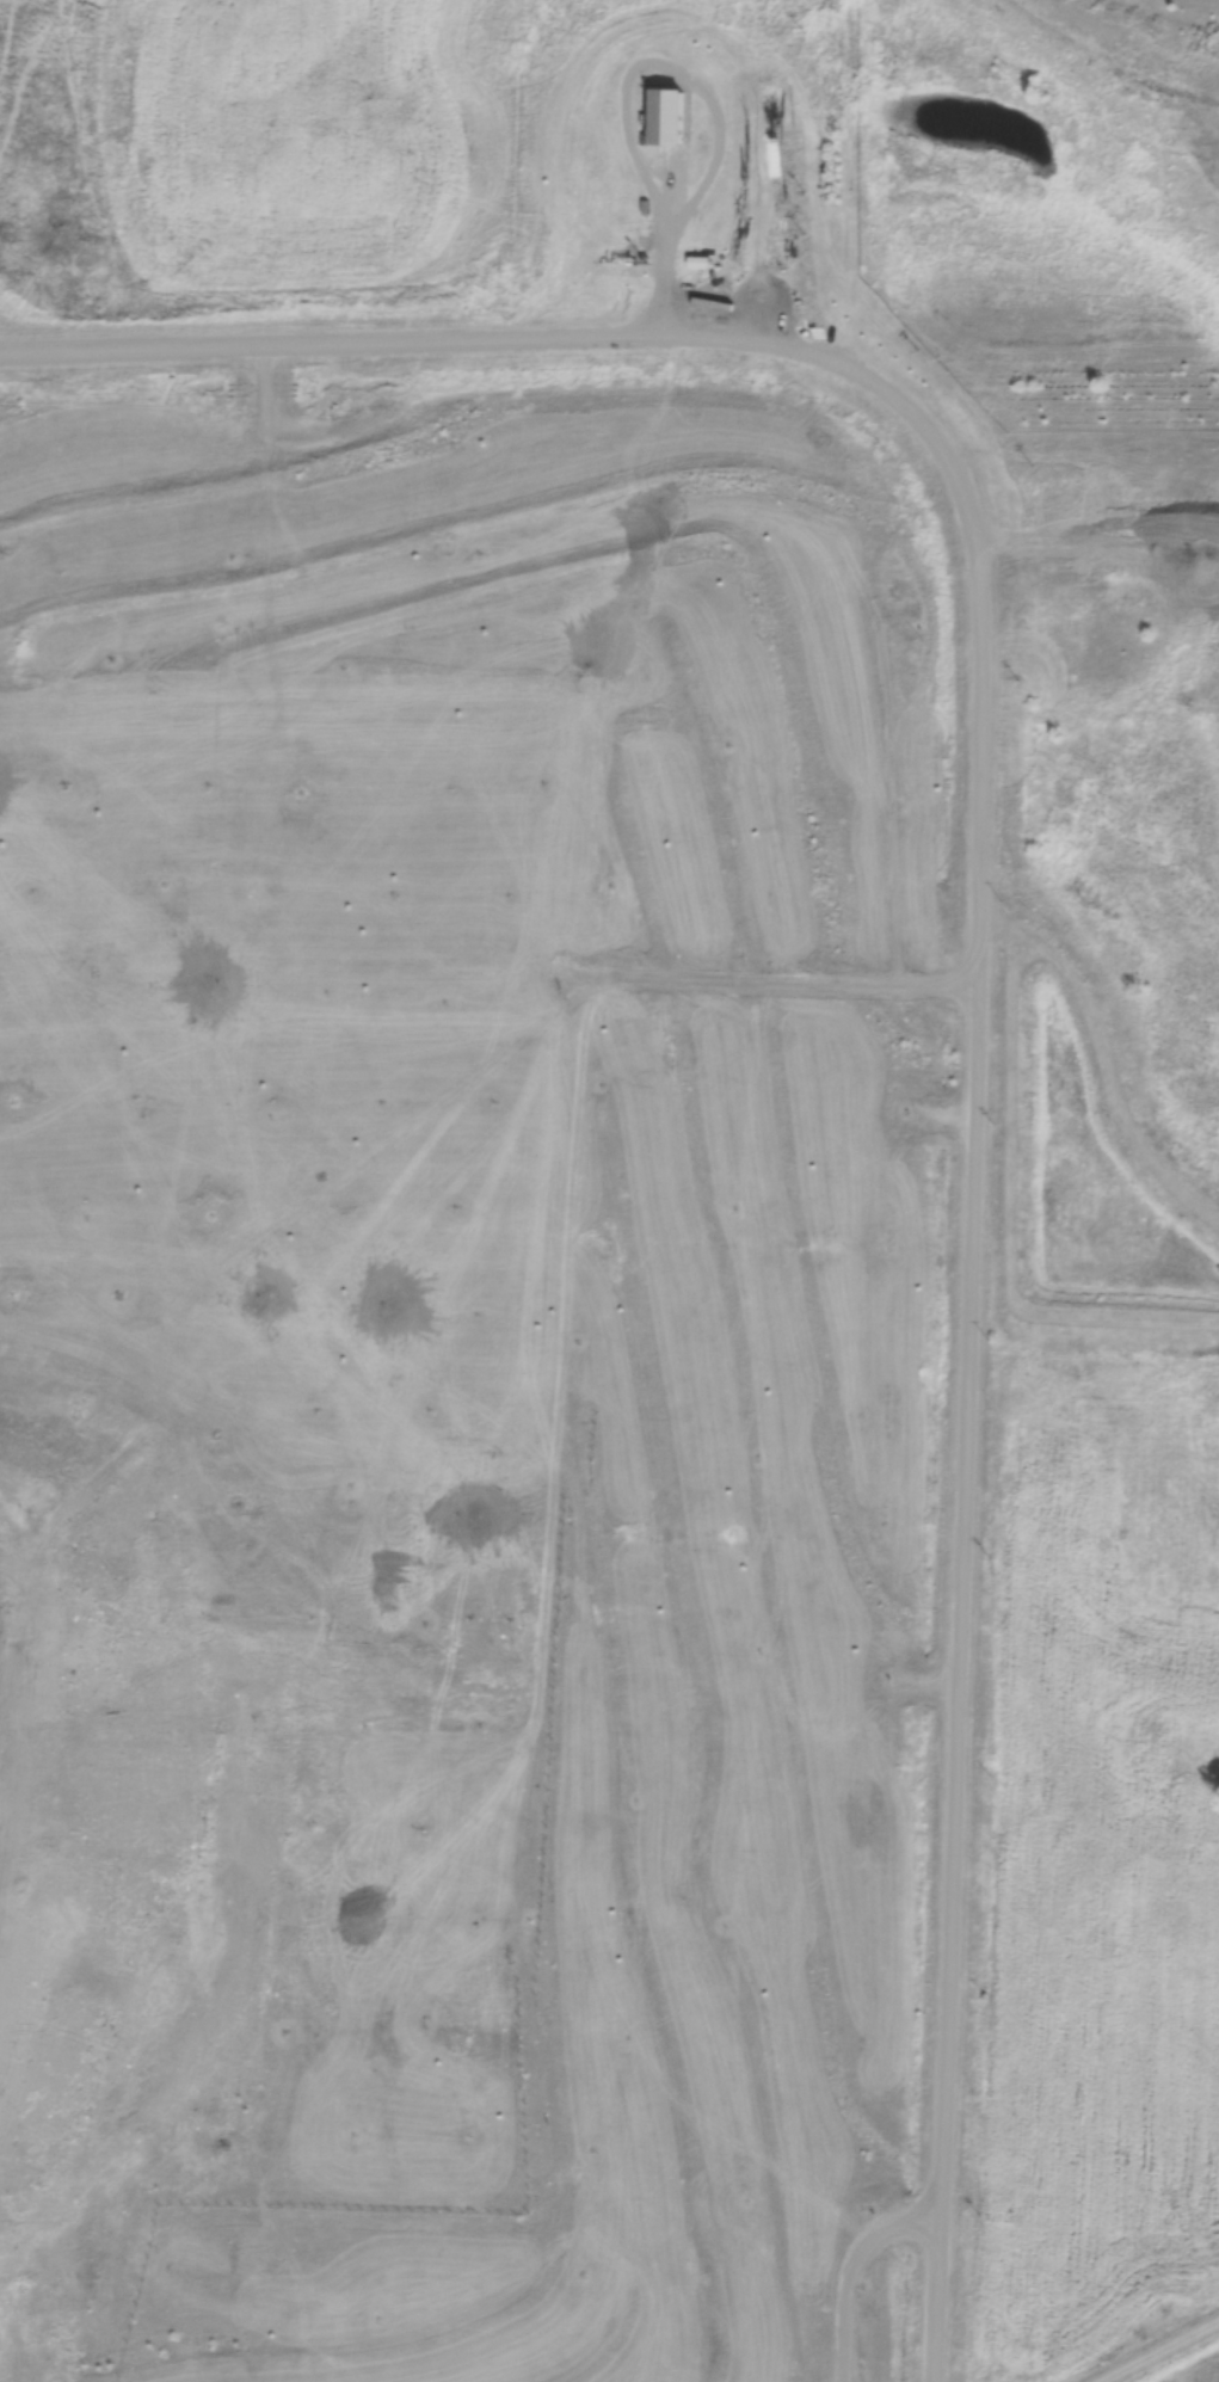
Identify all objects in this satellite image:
road: (712, 91)
building: (666, 118)
building: (700, 263)
road: (955, 923)
landfill: (159, 1638)
crop: (1097, 1869)
road: (856, 2270)

